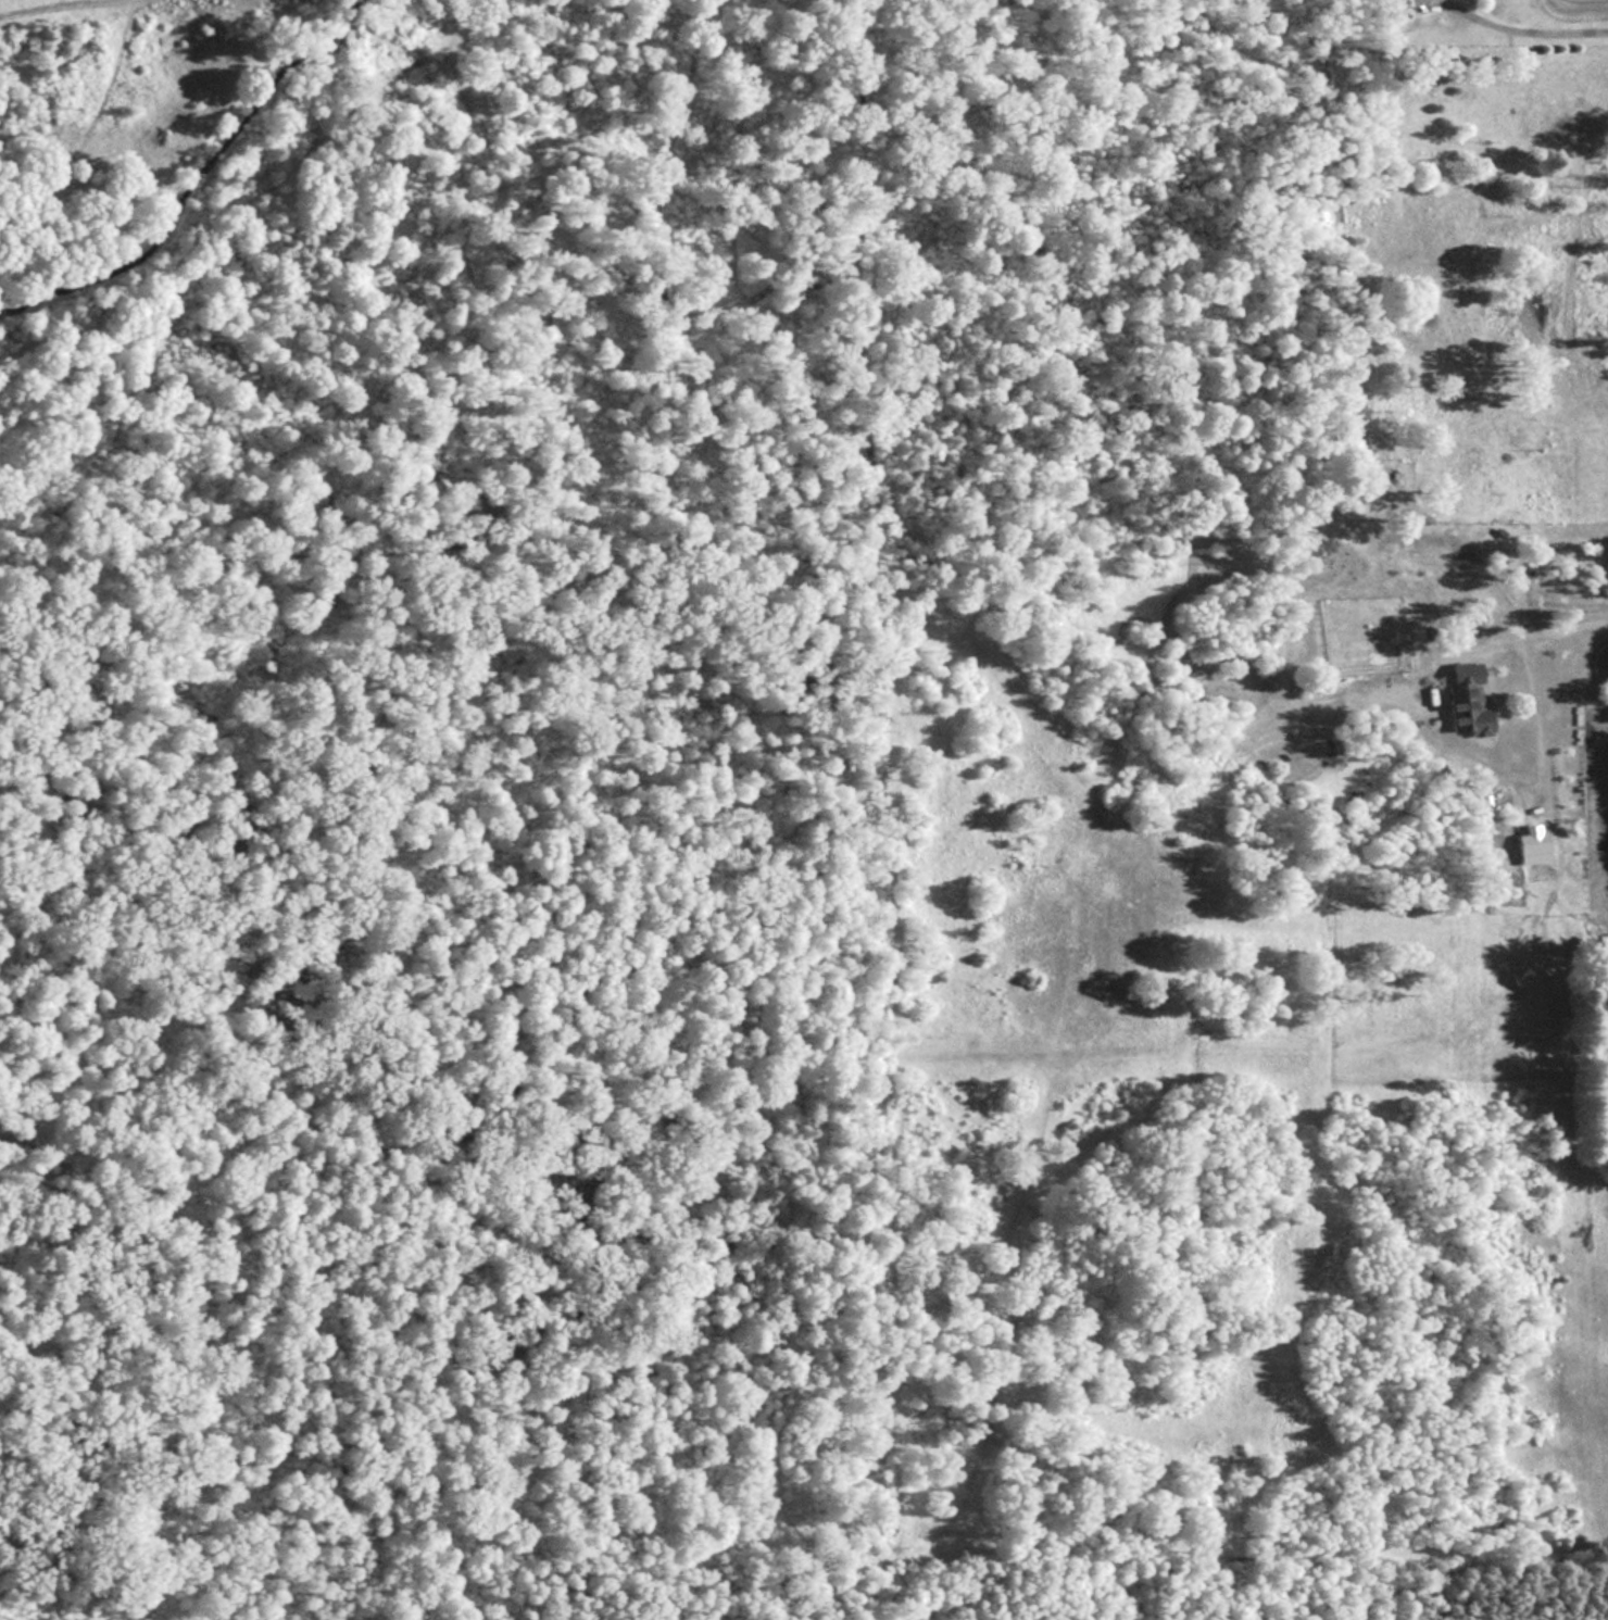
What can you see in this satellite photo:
building: (1393, 9)
road: (1518, 27)
road: (1554, 626)
building: (1462, 671)
building: (1459, 714)

